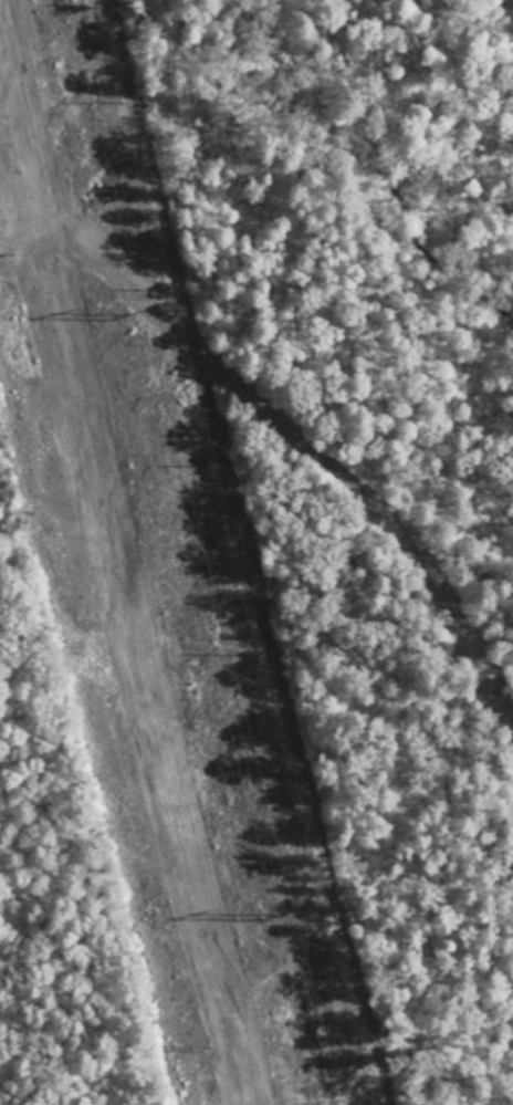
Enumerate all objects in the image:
power tower: (8, 256)
power tower: (117, 314)
power tower: (266, 911)
power tower: (207, 1050)

